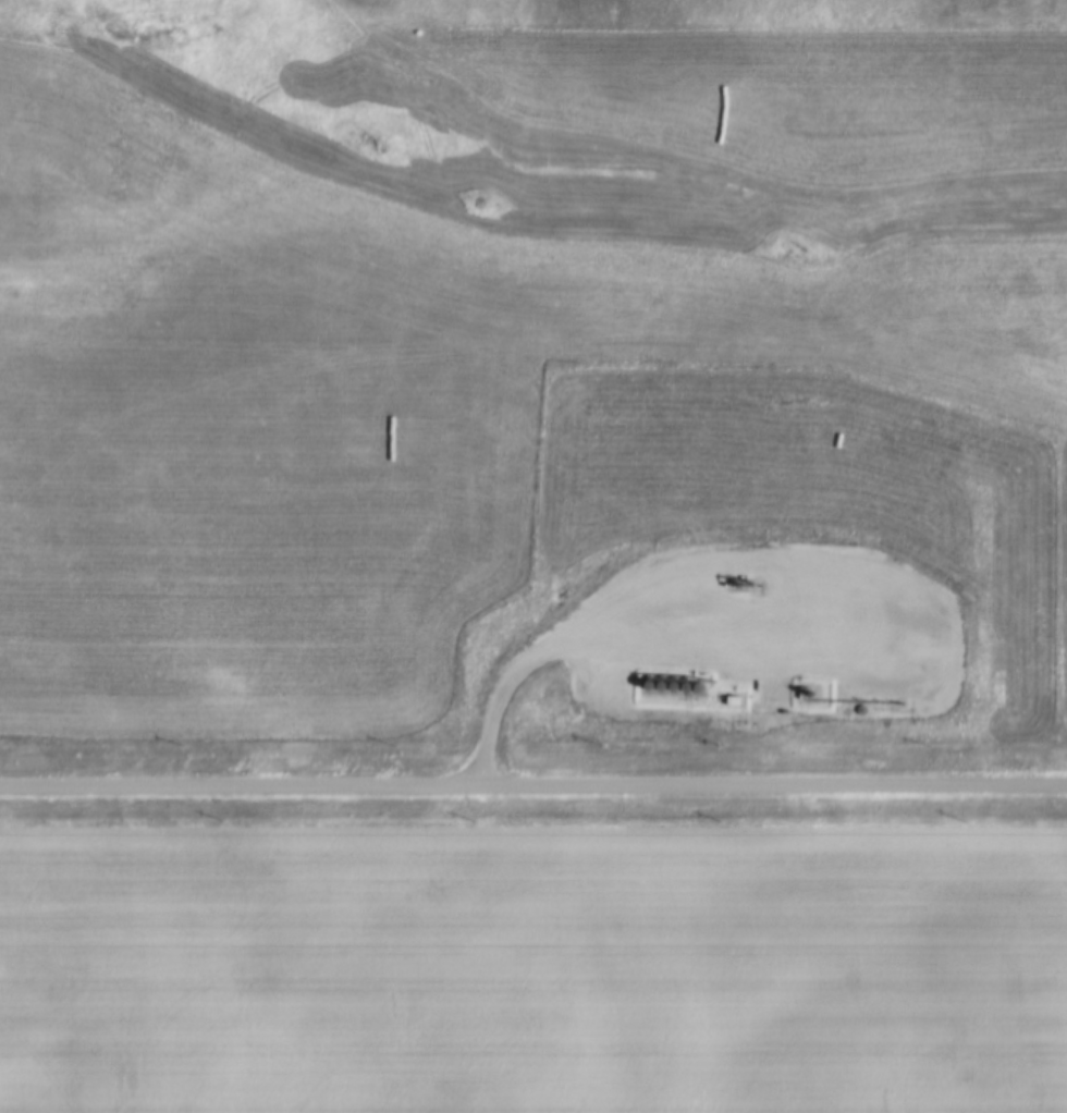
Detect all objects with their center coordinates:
petroleum well: (748, 576)
building: (653, 678)
storage tank: (653, 678)
building: (665, 680)
storage tank: (665, 680)
building: (677, 681)
storage tank: (677, 681)
building: (689, 682)
storage tank: (689, 682)
building: (702, 682)
storage tank: (702, 682)
building: (867, 704)
storage tank: (867, 704)
road: (532, 782)

